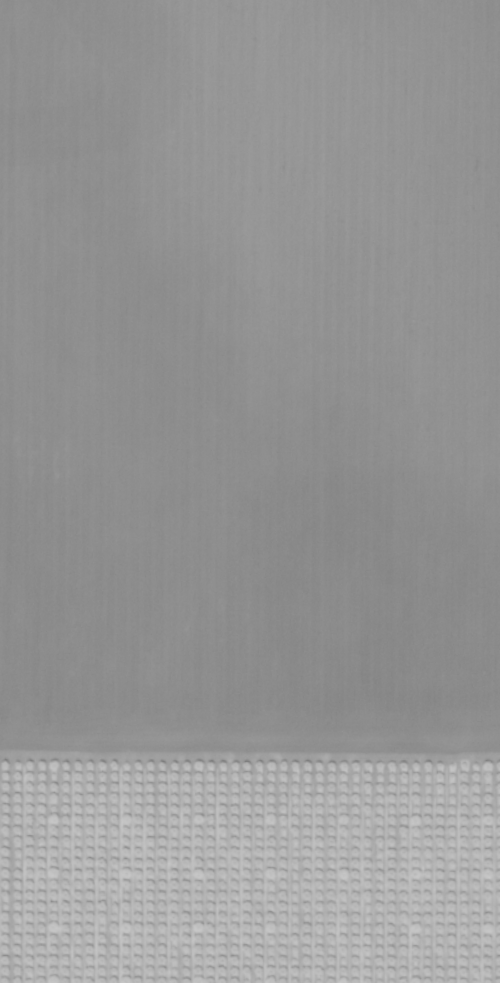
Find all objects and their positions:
road: (37, 491)

